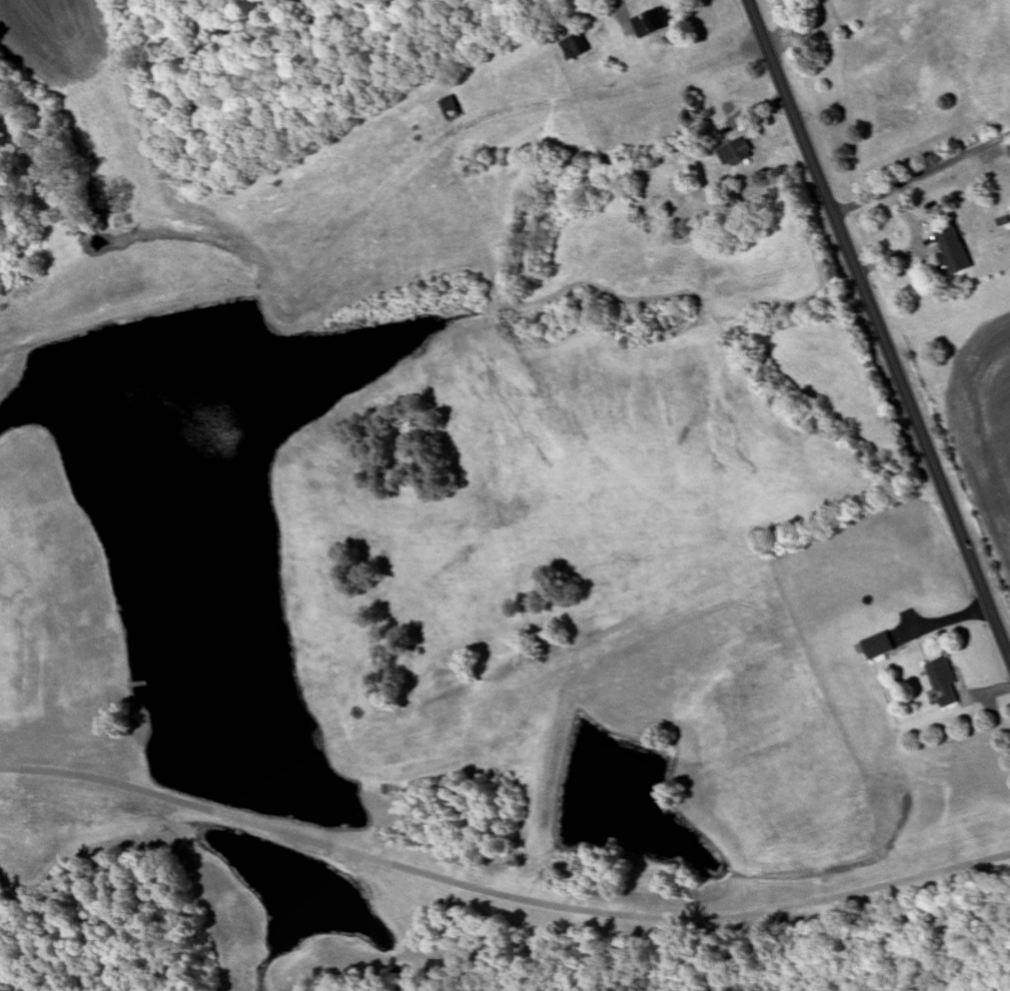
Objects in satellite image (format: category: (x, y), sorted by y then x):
building: (878, 16)
building: (652, 23)
building: (912, 30)
building: (573, 47)
building: (450, 107)
building: (736, 153)
road: (921, 175)
building: (954, 257)
road: (878, 331)
building: (877, 646)
building: (943, 684)
road: (501, 892)
building: (713, 978)

